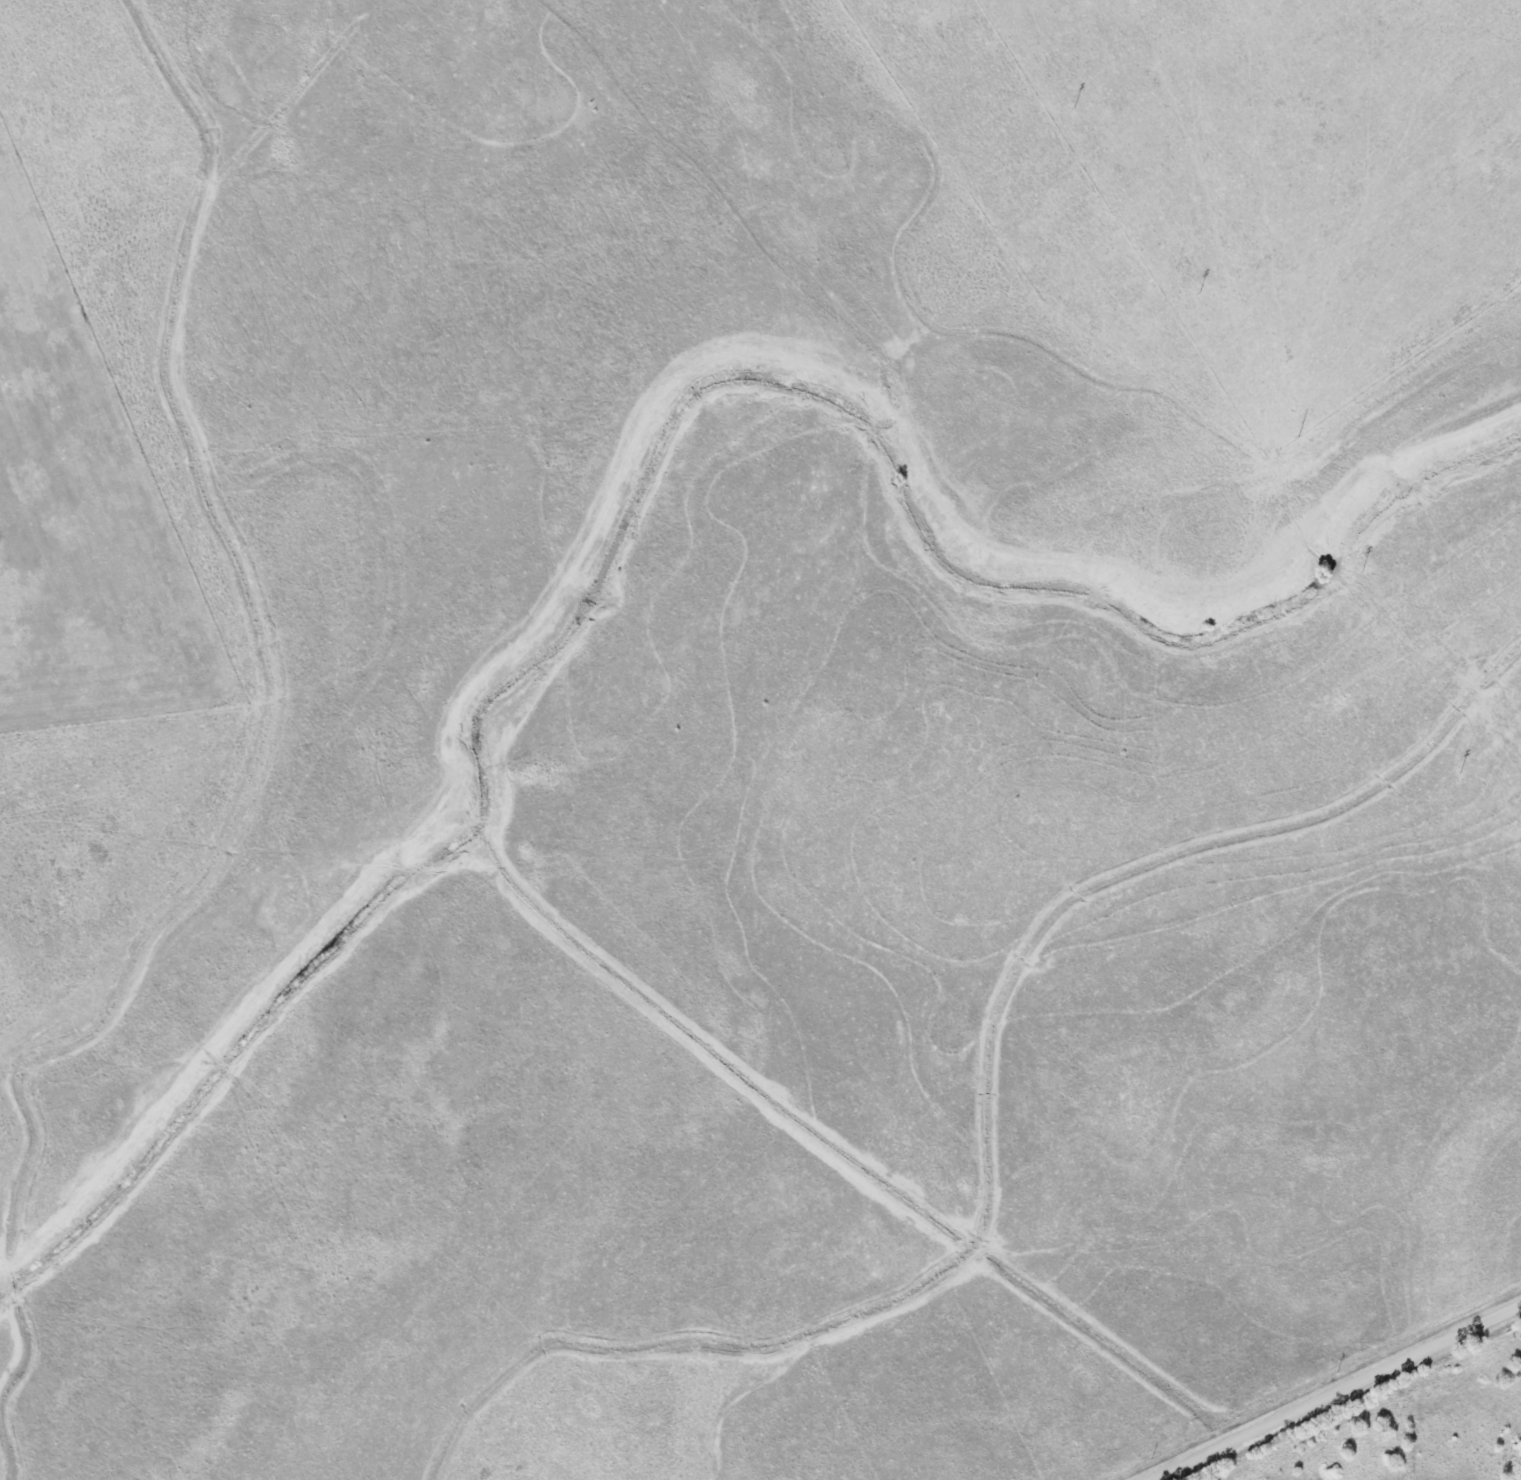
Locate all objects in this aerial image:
road: (1327, 1391)

